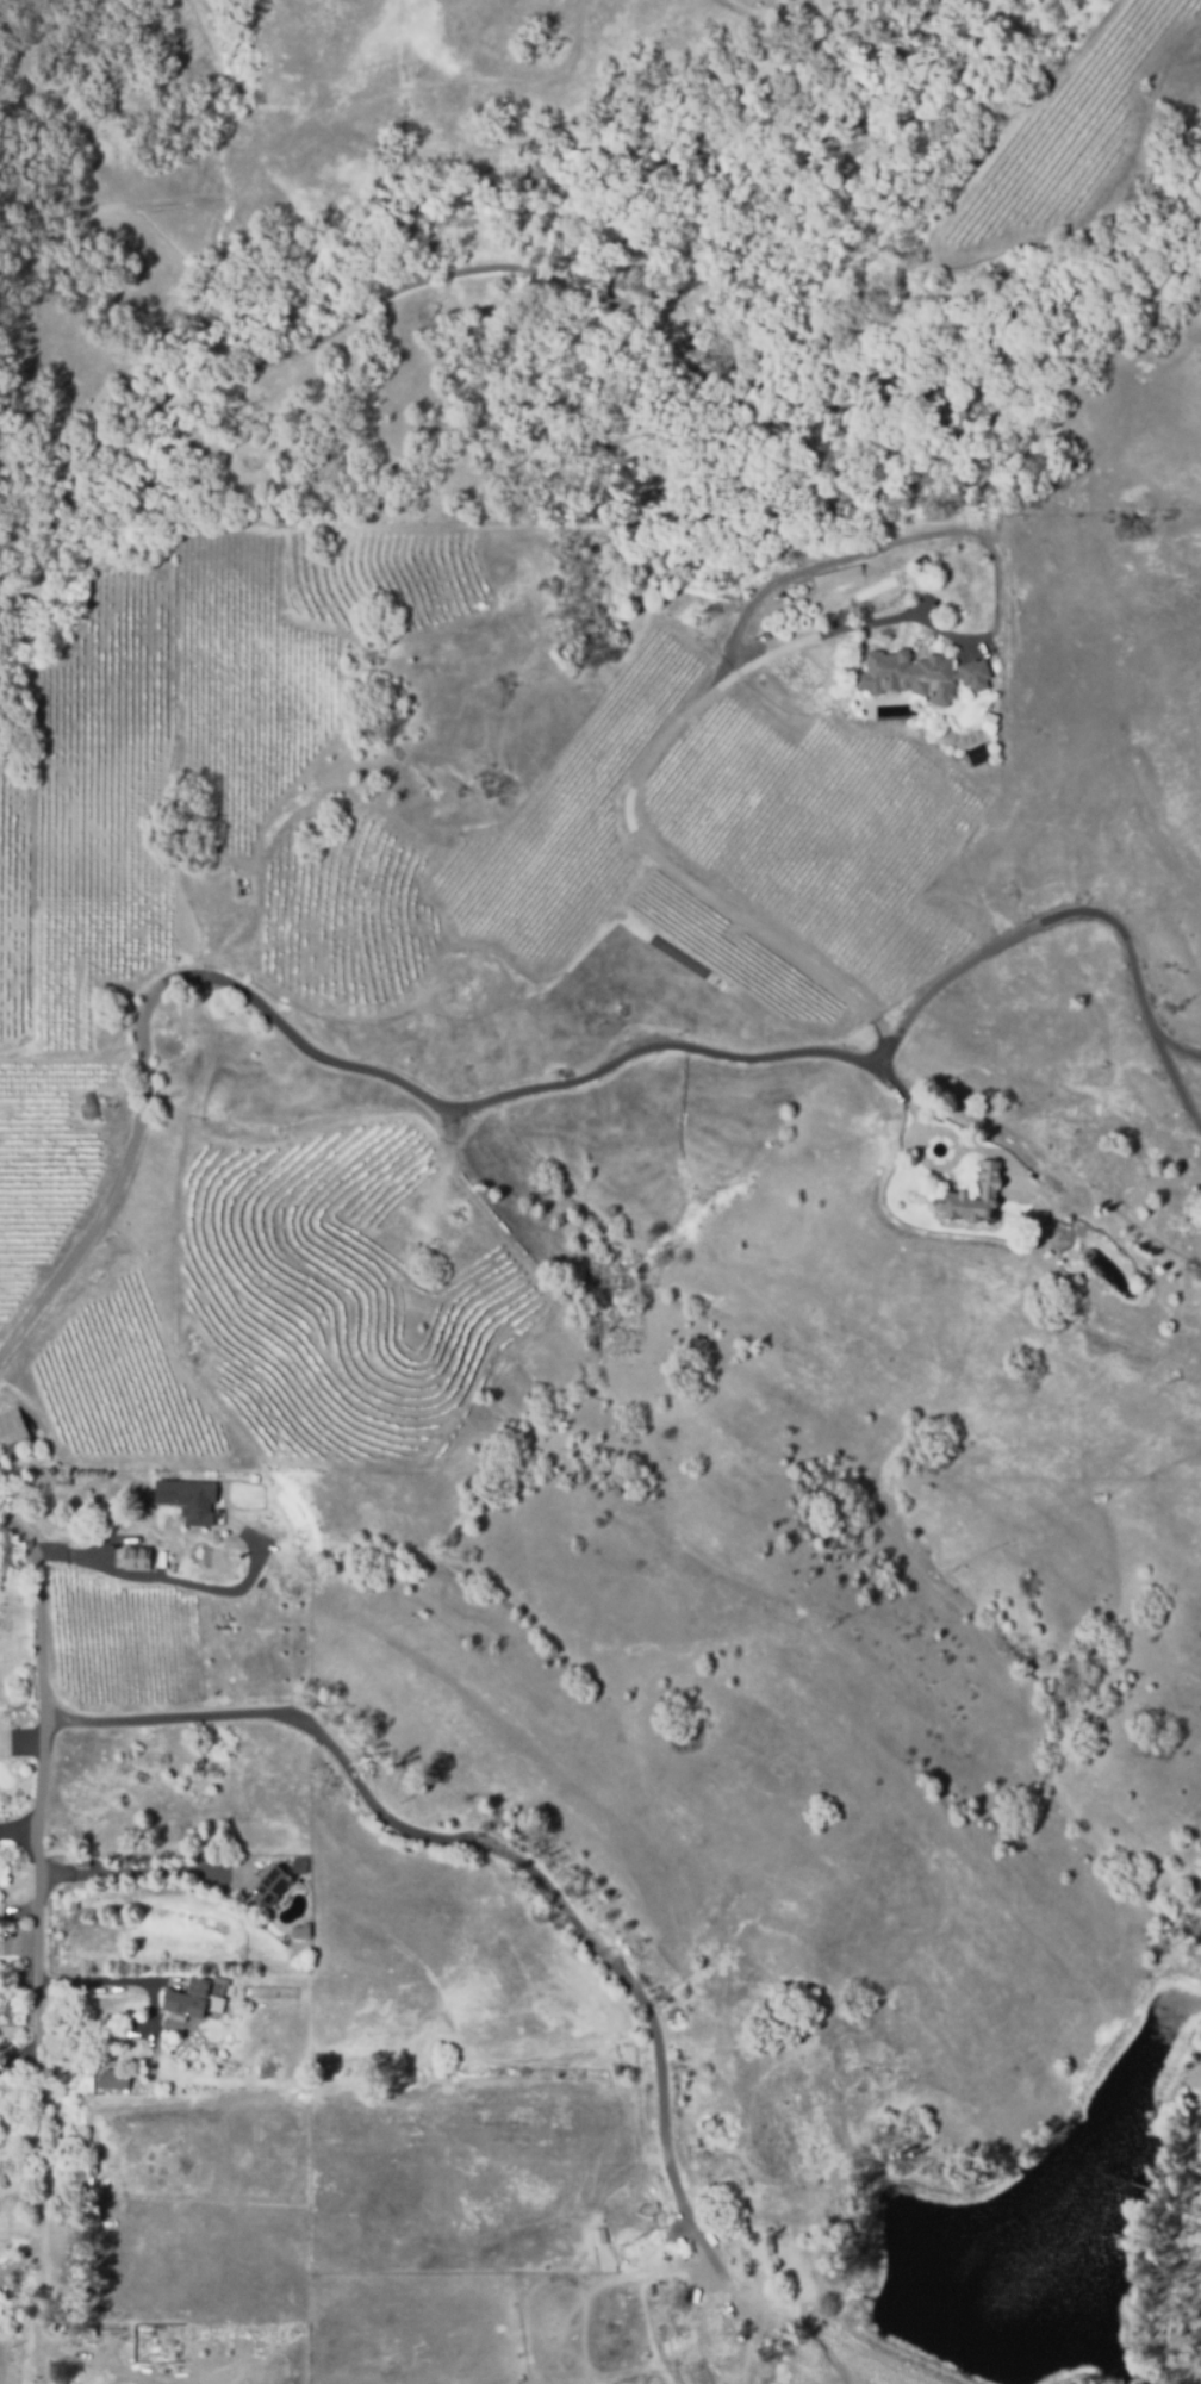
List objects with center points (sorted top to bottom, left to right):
road: (575, 236)
building: (839, 575)
building: (801, 587)
building: (792, 590)
road: (816, 636)
building: (921, 673)
building: (244, 885)
road: (1037, 923)
road: (1172, 1046)
building: (29, 1047)
road: (879, 1053)
road: (356, 1067)
road: (1172, 1077)
building: (87, 1107)
building: (985, 1191)
building: (12, 1431)
building: (189, 1499)
building: (135, 1558)
road: (174, 1581)
road: (499, 1843)
building: (299, 1865)
road: (136, 1869)
building: (269, 1885)
road: (38, 1888)
building: (70, 1903)
road: (118, 1981)
building: (192, 1999)
building: (111, 2078)
building: (599, 2236)
building: (755, 2247)
building: (108, 2332)
building: (687, 2346)

